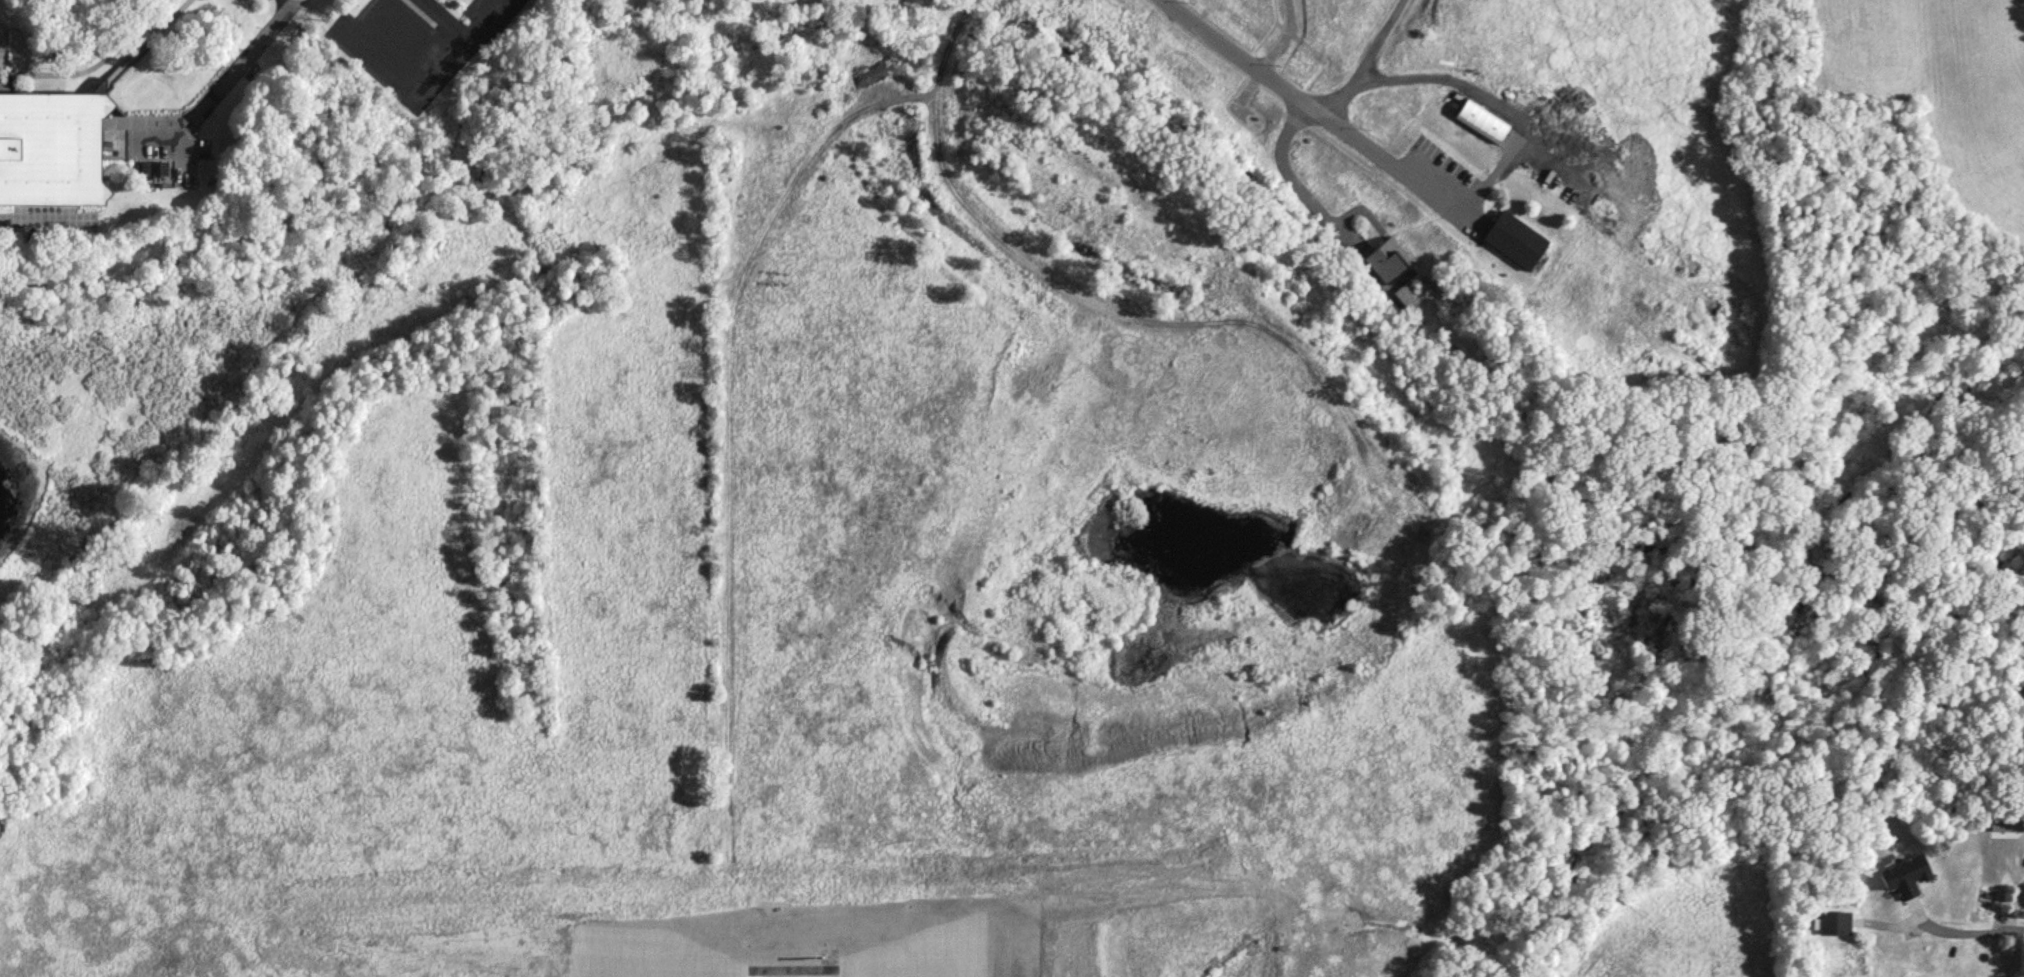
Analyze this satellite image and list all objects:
road: (293, 1)
road: (444, 17)
road: (480, 18)
road: (360, 21)
road: (401, 36)
road: (1282, 36)
road: (946, 42)
road: (103, 58)
road: (1366, 61)
road: (432, 64)
road: (223, 87)
road: (1489, 100)
building: (1452, 102)
road: (1308, 105)
building: (51, 150)
road: (1291, 181)
building: (1515, 239)
building: (1388, 258)
building: (1409, 295)
road: (2010, 864)
building: (1906, 875)
road: (2018, 910)
building: (1834, 923)
road: (1926, 924)
road: (1888, 926)
road: (1987, 932)

